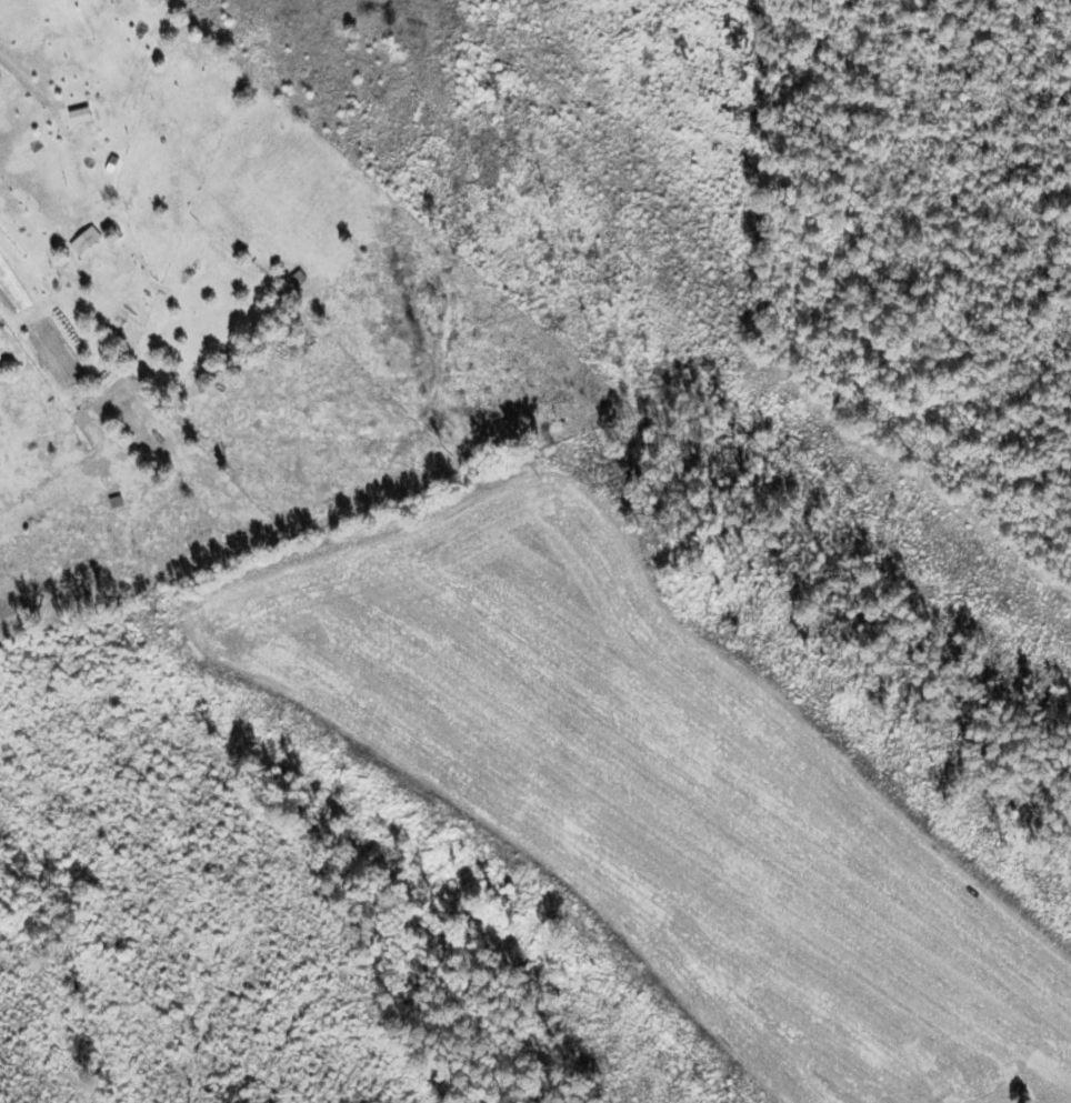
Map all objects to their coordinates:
building: (112, 120)
road: (38, 161)

